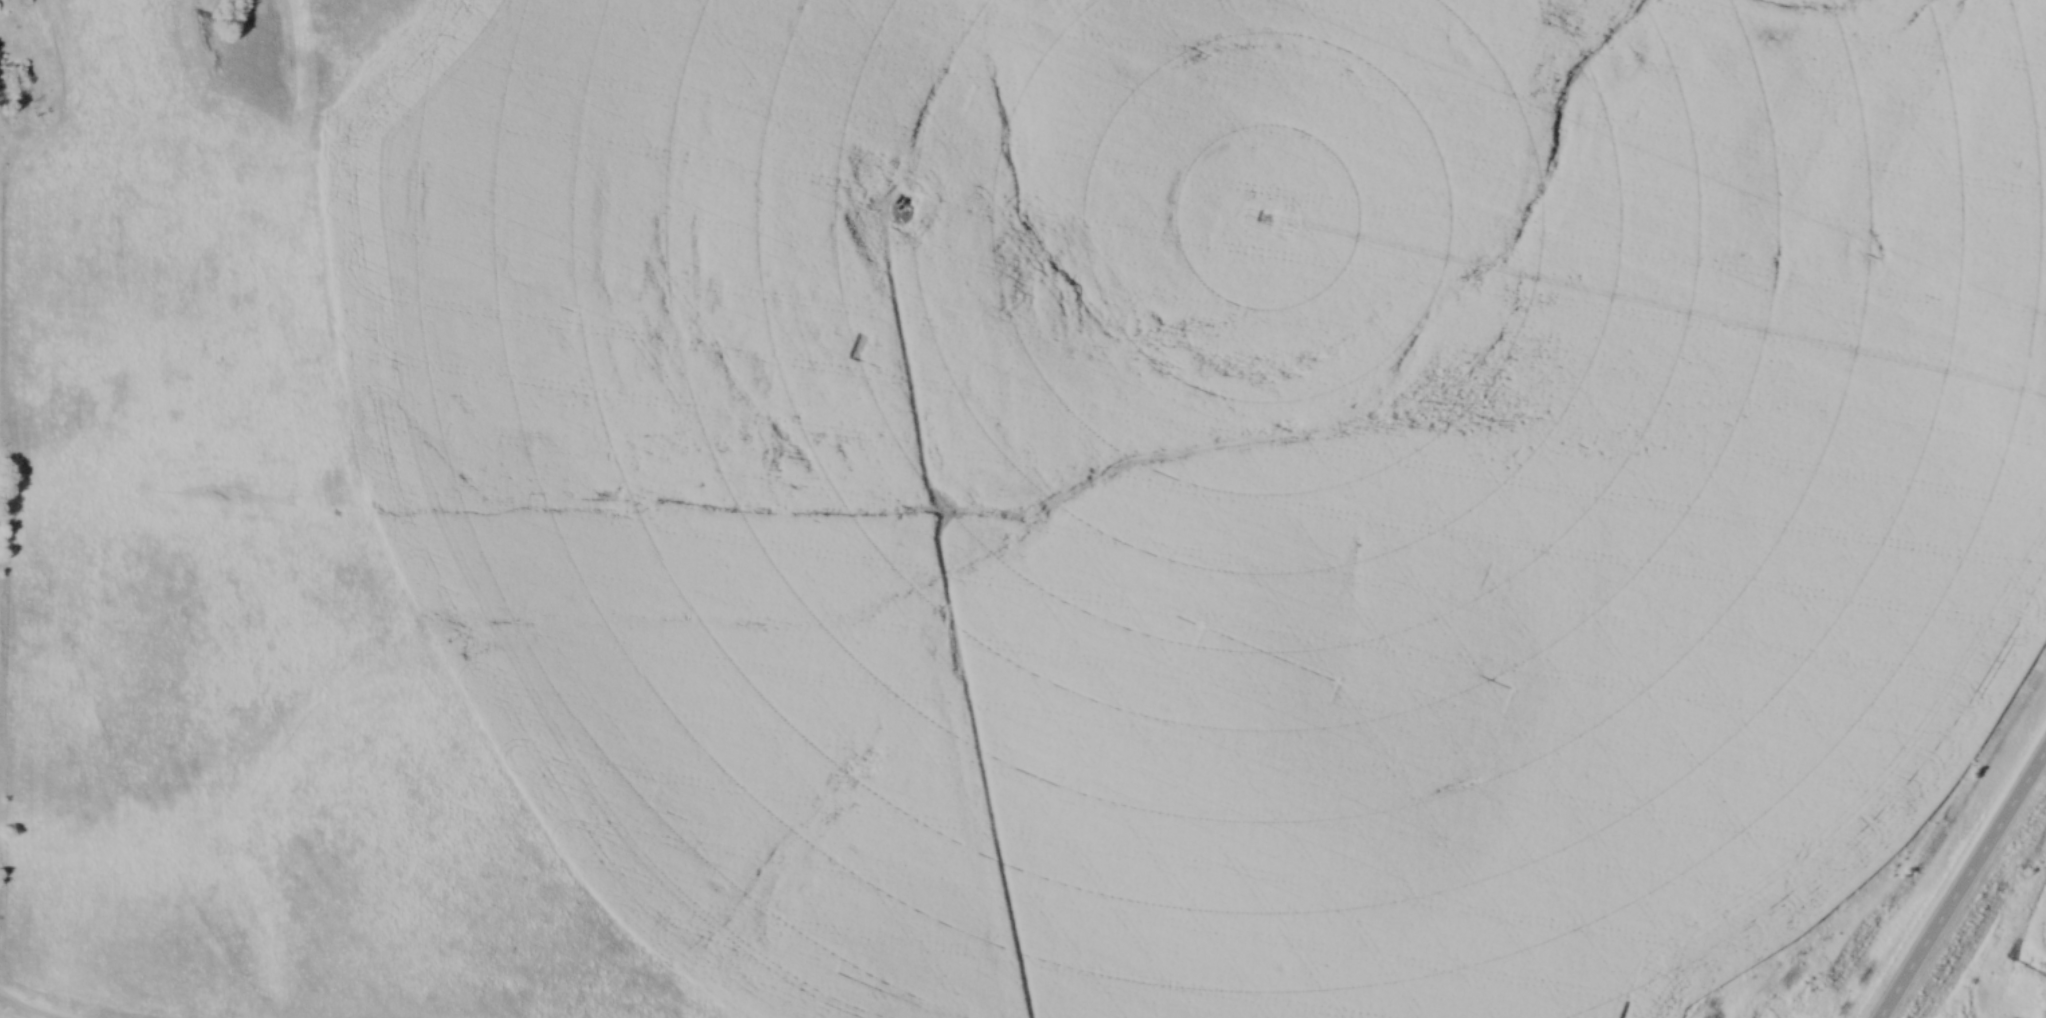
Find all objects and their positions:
road: (1965, 886)

